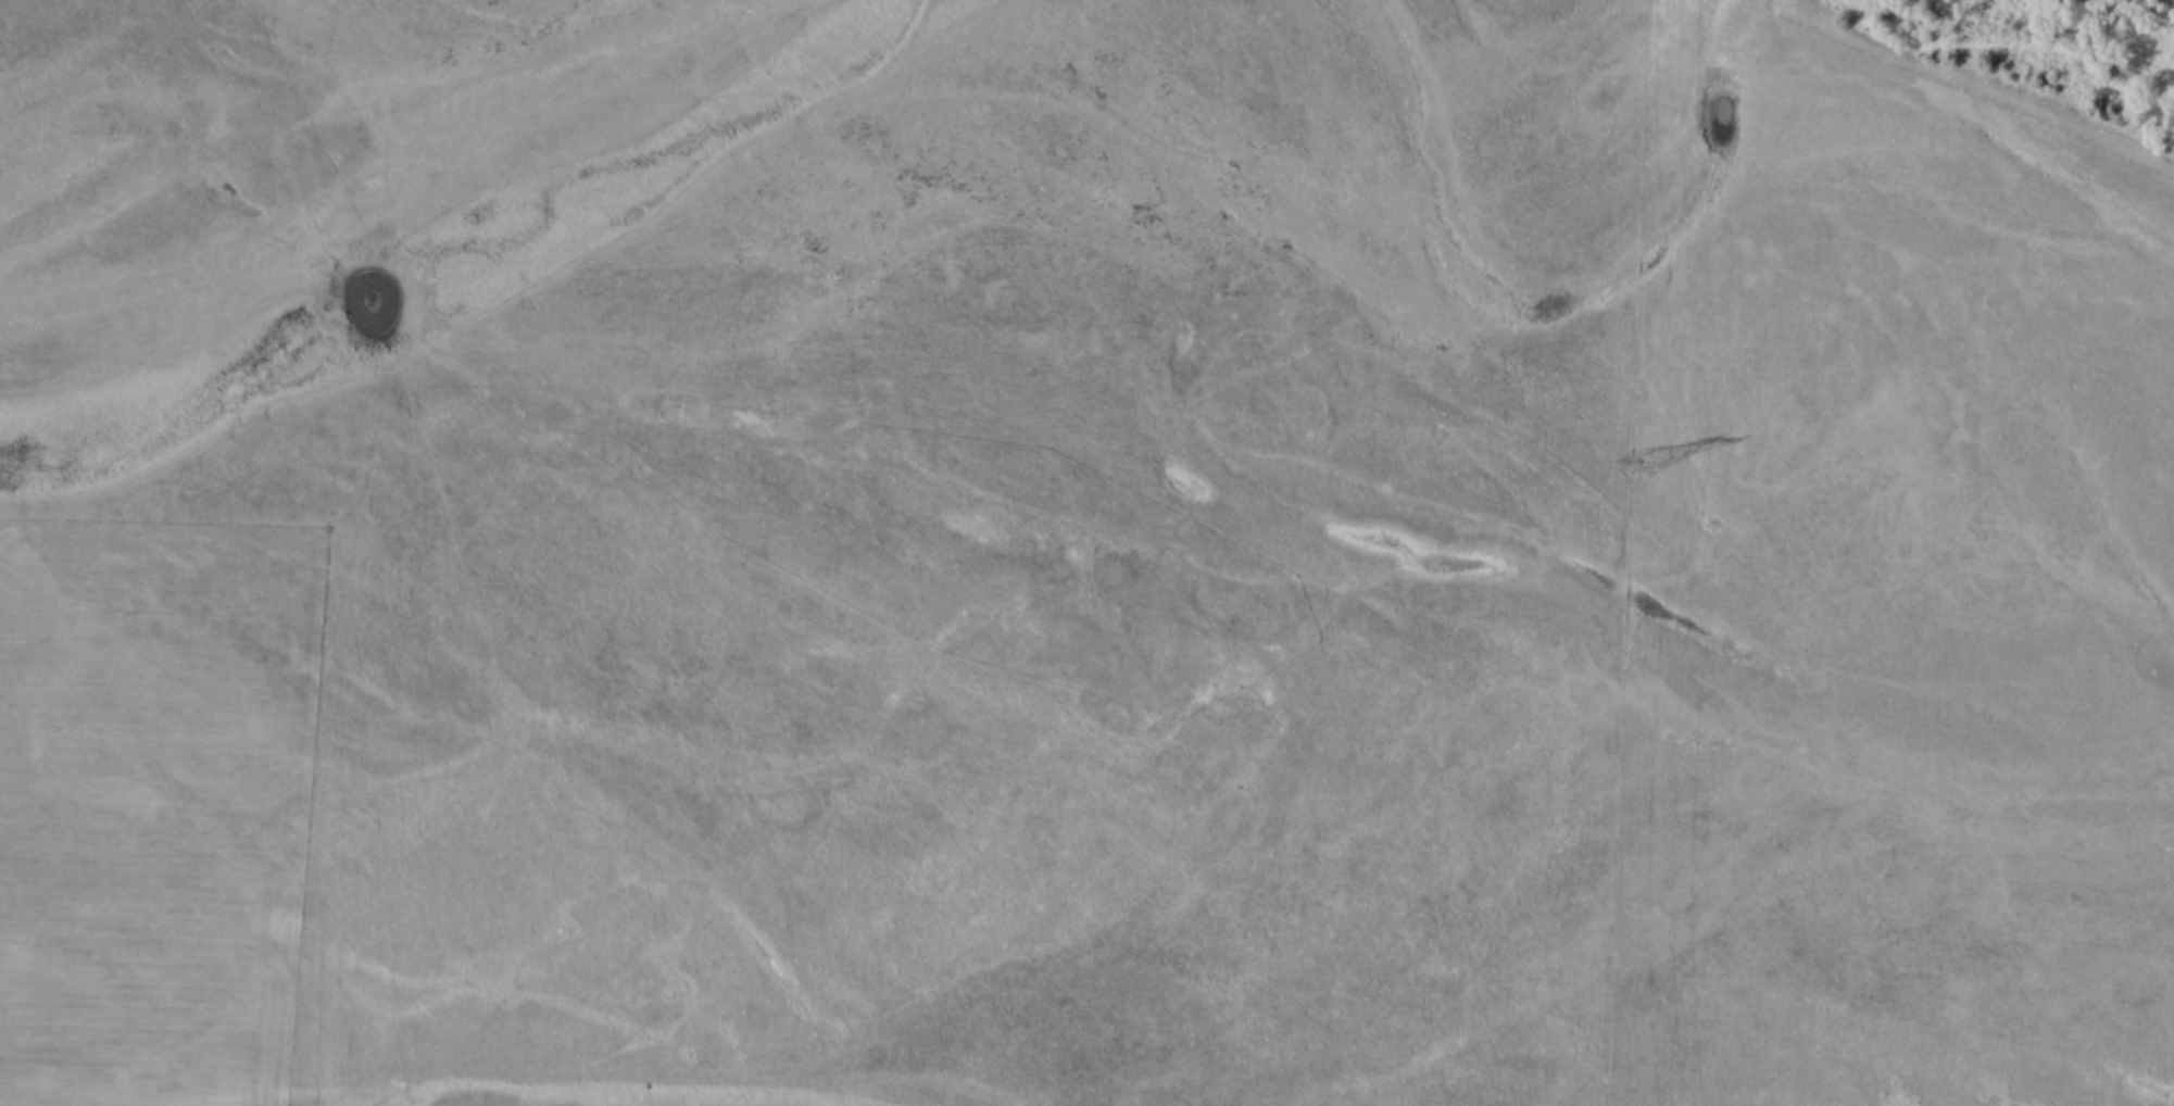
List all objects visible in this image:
power tower: (1645, 466)

